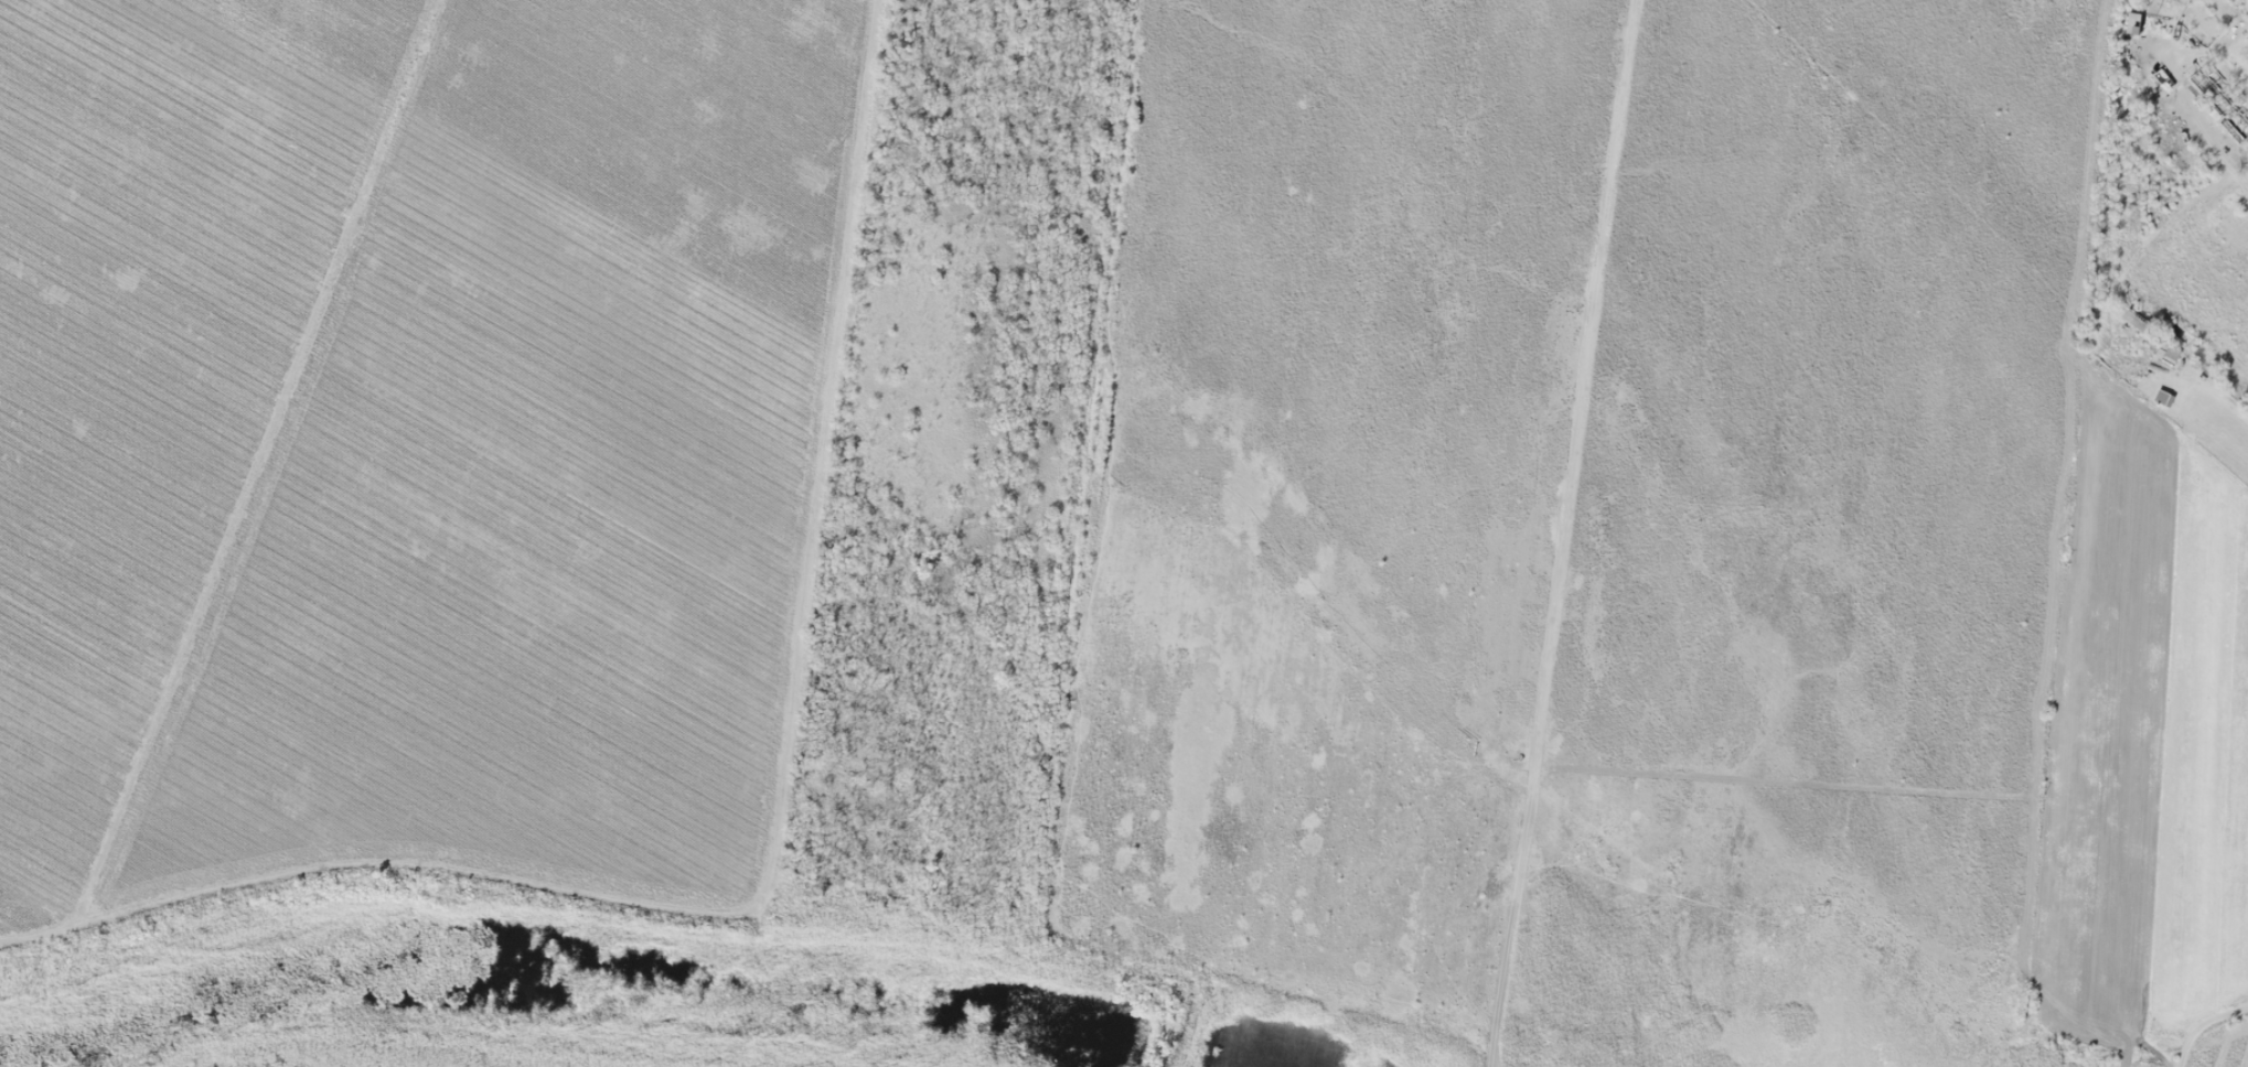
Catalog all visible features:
road: (2201, 1025)

